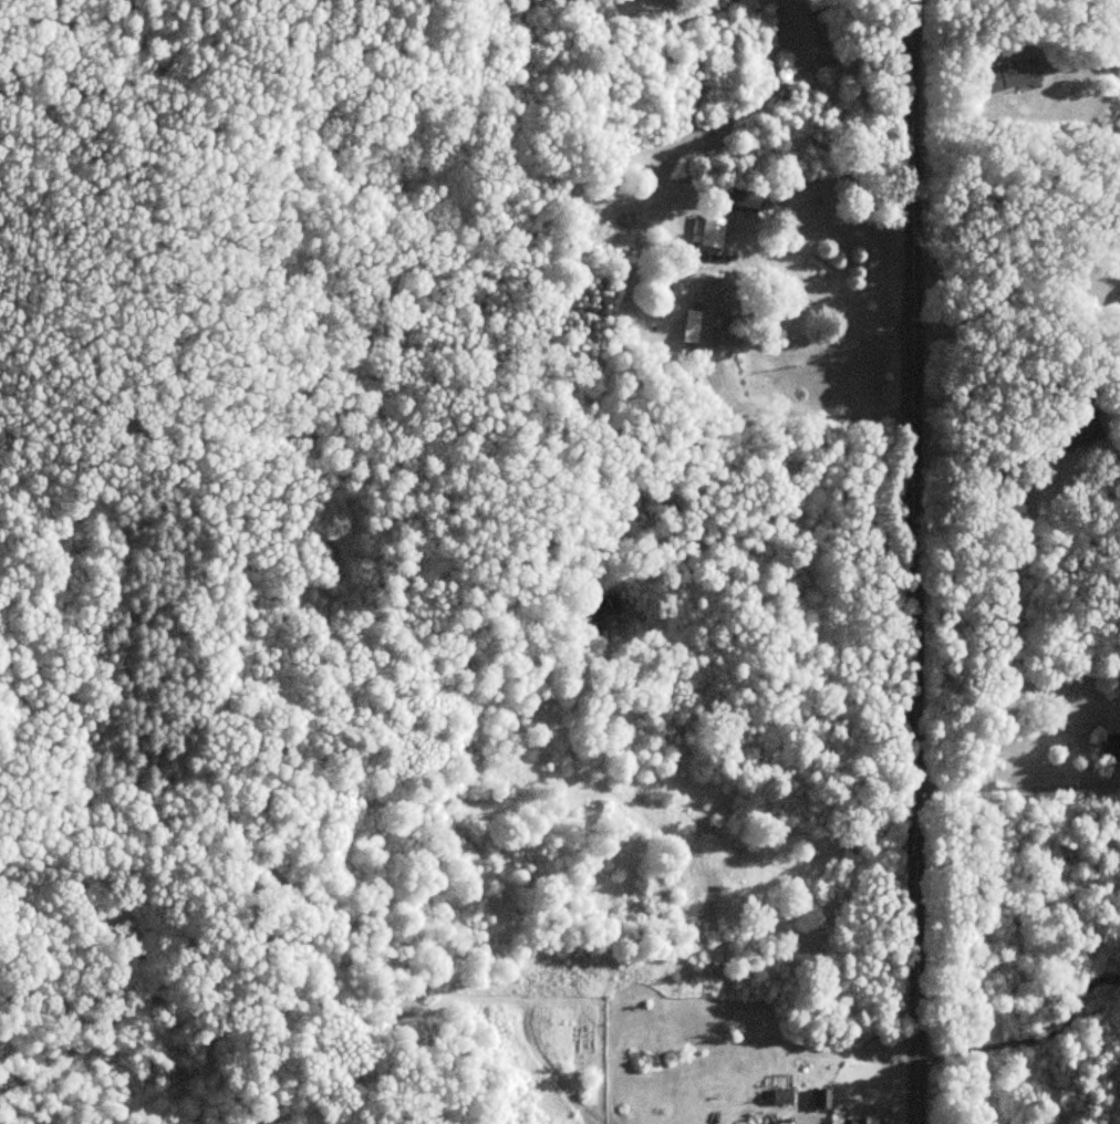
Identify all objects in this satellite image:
building: (1008, 76)
building: (728, 199)
building: (705, 231)
road: (963, 274)
road: (1004, 293)
road: (822, 301)
building: (708, 312)
road: (987, 378)
building: (1077, 427)
road: (914, 561)
building: (1109, 748)
road: (1015, 788)
road: (1031, 1038)
building: (779, 1097)
building: (819, 1101)
building: (861, 1122)

